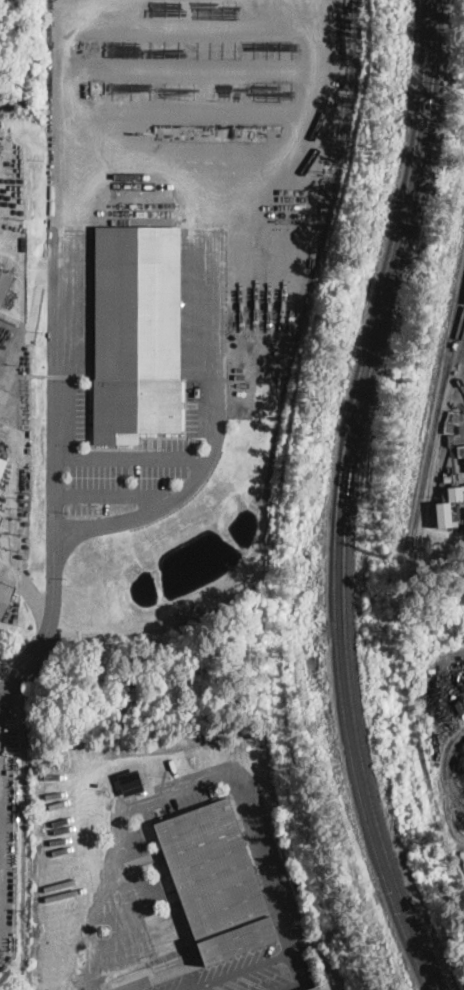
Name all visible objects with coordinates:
road: (313, 113)
building: (5, 286)
road: (34, 314)
road: (216, 318)
building: (137, 331)
road: (57, 345)
railway: (452, 356)
railway: (438, 407)
building: (460, 449)
railway: (353, 451)
road: (132, 458)
building: (2, 465)
road: (15, 477)
building: (455, 492)
road: (114, 496)
railway: (339, 497)
building: (443, 513)
building: (5, 598)
building: (130, 781)
road: (180, 784)
building: (217, 879)
railway: (422, 947)
road: (261, 962)
railway: (329, 971)
building: (317, 987)
building: (334, 989)

